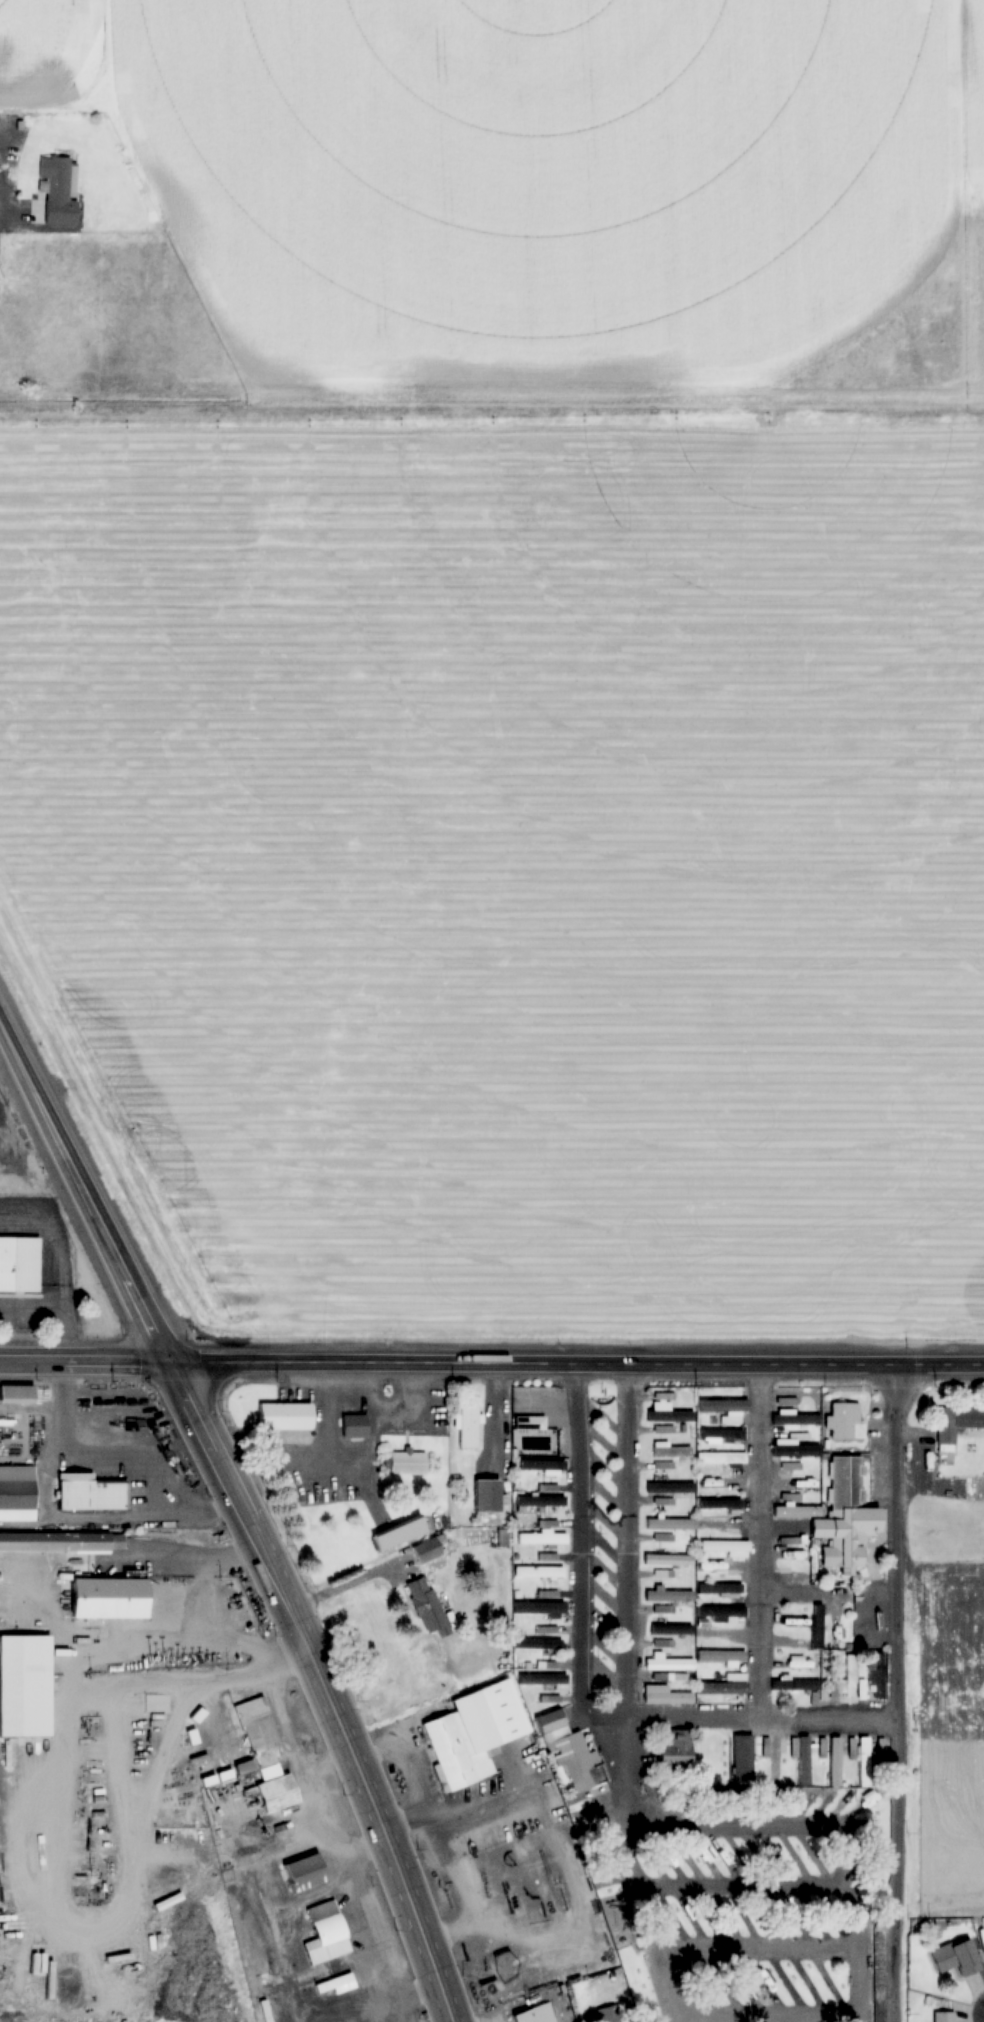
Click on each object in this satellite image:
building: (12, 123)
building: (58, 190)
road: (86, 1192)
building: (20, 1264)
road: (86, 1360)
road: (578, 1360)
building: (14, 1394)
building: (722, 1405)
building: (667, 1413)
building: (282, 1417)
building: (794, 1420)
building: (844, 1421)
building: (528, 1422)
building: (956, 1424)
building: (353, 1426)
building: (468, 1427)
building: (667, 1429)
building: (721, 1435)
building: (670, 1450)
building: (797, 1452)
building: (720, 1458)
building: (406, 1464)
building: (665, 1465)
building: (542, 1466)
building: (601, 1467)
building: (794, 1483)
building: (670, 1488)
building: (86, 1493)
building: (16, 1494)
building: (484, 1496)
building: (539, 1501)
building: (719, 1504)
building: (797, 1511)
road: (246, 1517)
building: (844, 1517)
building: (670, 1524)
building: (721, 1524)
building: (395, 1534)
building: (665, 1538)
building: (542, 1539)
road: (760, 1539)
building: (794, 1540)
building: (62, 1542)
building: (725, 1548)
building: (426, 1551)
building: (667, 1560)
building: (724, 1568)
building: (538, 1572)
building: (794, 1576)
building: (719, 1589)
building: (549, 1594)
building: (668, 1596)
building: (104, 1599)
building: (426, 1606)
building: (545, 1609)
building: (720, 1612)
building: (817, 1627)
building: (670, 1630)
building: (834, 1632)
building: (710, 1633)
building: (867, 1639)
building: (537, 1644)
building: (663, 1644)
building: (720, 1656)
building: (668, 1665)
building: (794, 1666)
building: (876, 1676)
building: (541, 1679)
building: (844, 1681)
building: (725, 1685)
building: (794, 1685)
building: (24, 1686)
road: (899, 1691)
building: (664, 1696)
road: (762, 1715)
building: (255, 1733)
building: (472, 1733)
building: (880, 1747)
building: (676, 1751)
building: (570, 1753)
building: (862, 1757)
building: (742, 1758)
building: (803, 1759)
road: (618, 1762)
building: (775, 1762)
building: (835, 1765)
building: (243, 1768)
building: (274, 1794)
road: (388, 1846)
building: (302, 1873)
building: (325, 1934)
building: (110, 1943)
building: (955, 1958)
building: (334, 1985)
building: (265, 2011)
building: (533, 2014)
building: (943, 2016)

